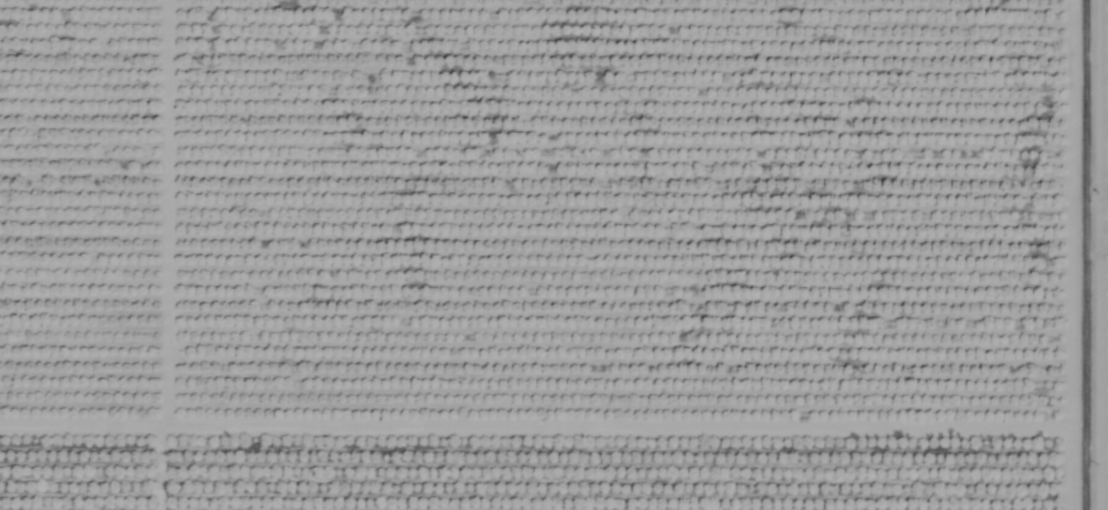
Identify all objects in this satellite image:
crop: (553, 254)
road: (1090, 254)

